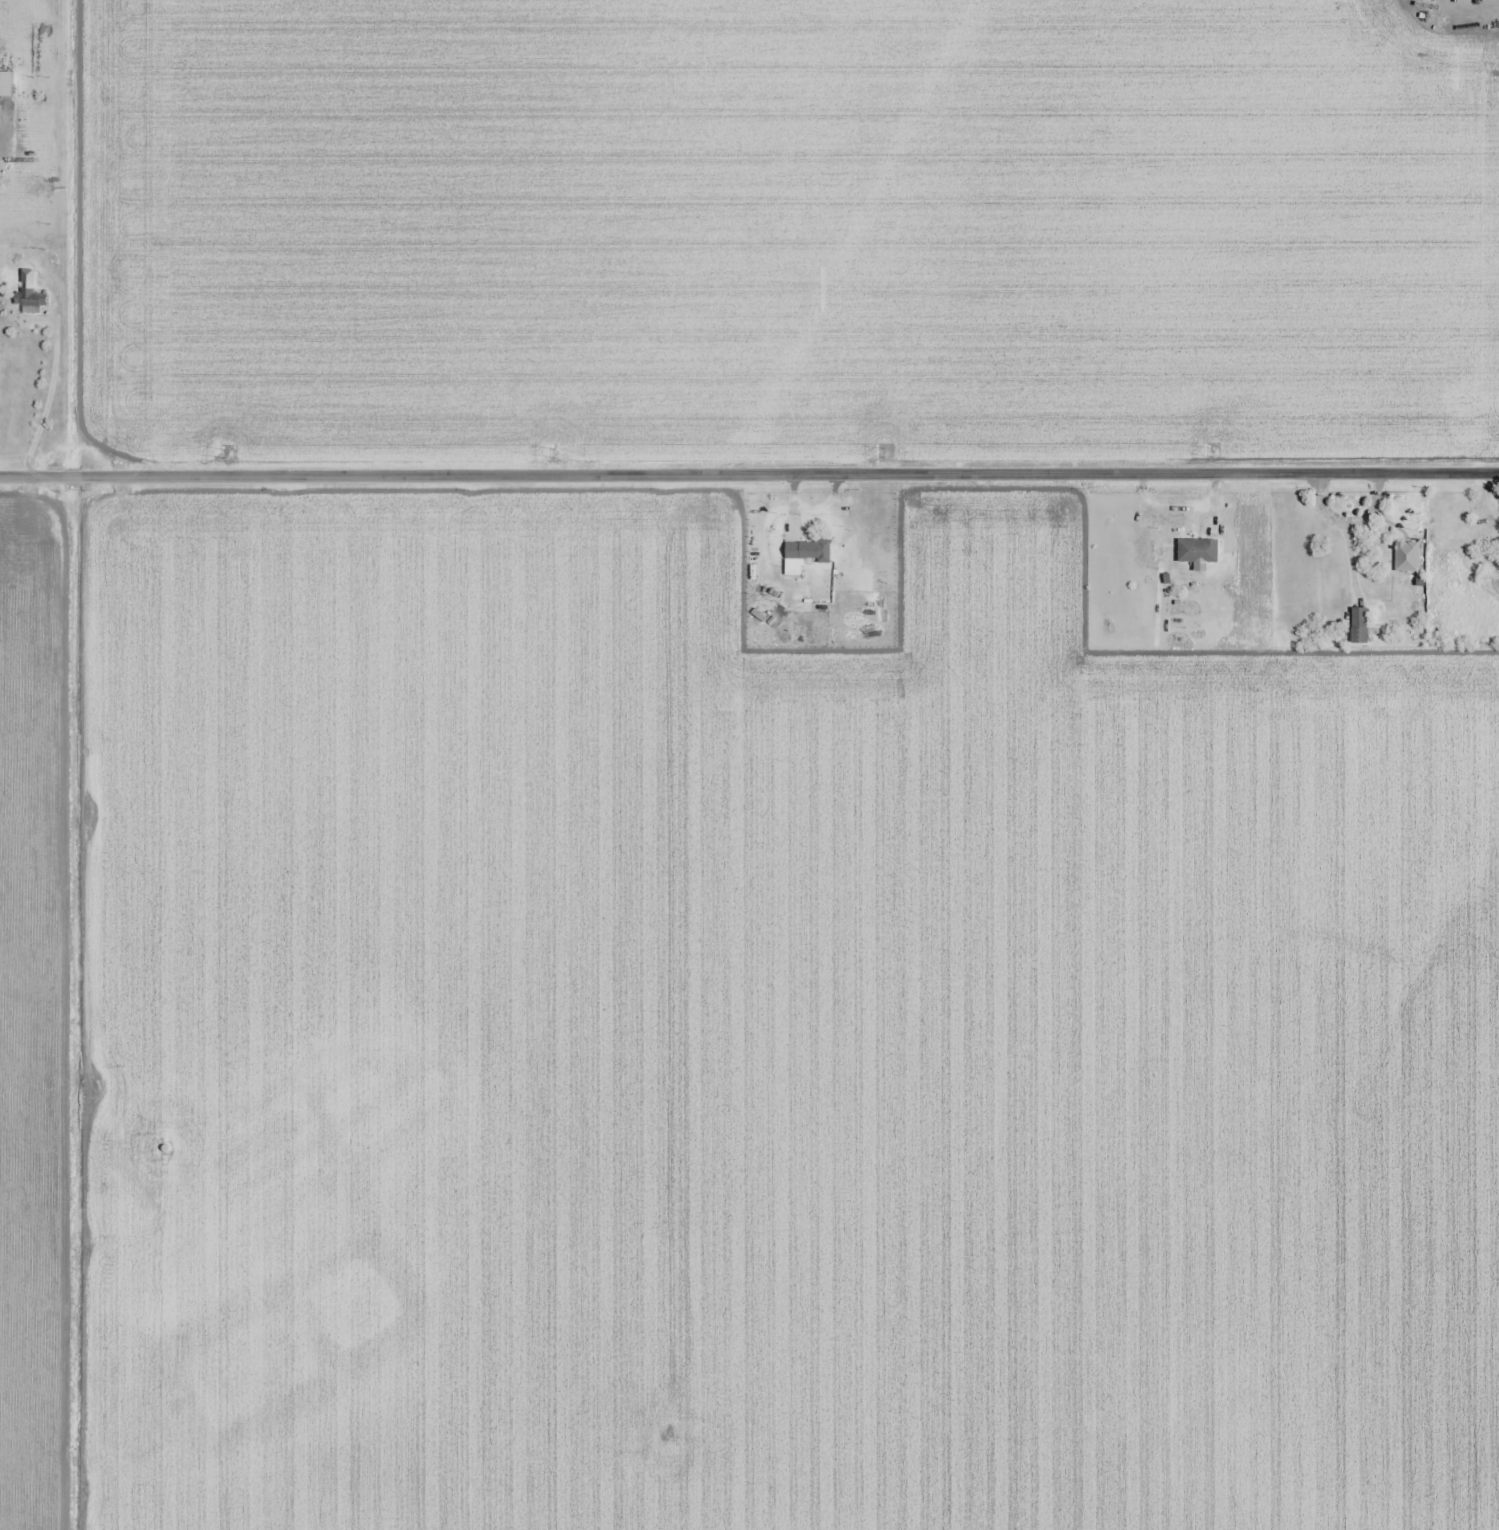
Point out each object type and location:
building: (31, 299)
power tower: (554, 452)
power tower: (884, 452)
power tower: (1213, 452)
power tower: (225, 454)
road: (749, 474)
road: (1348, 521)
building: (808, 551)
building: (1198, 551)
building: (1406, 557)
building: (1359, 626)

